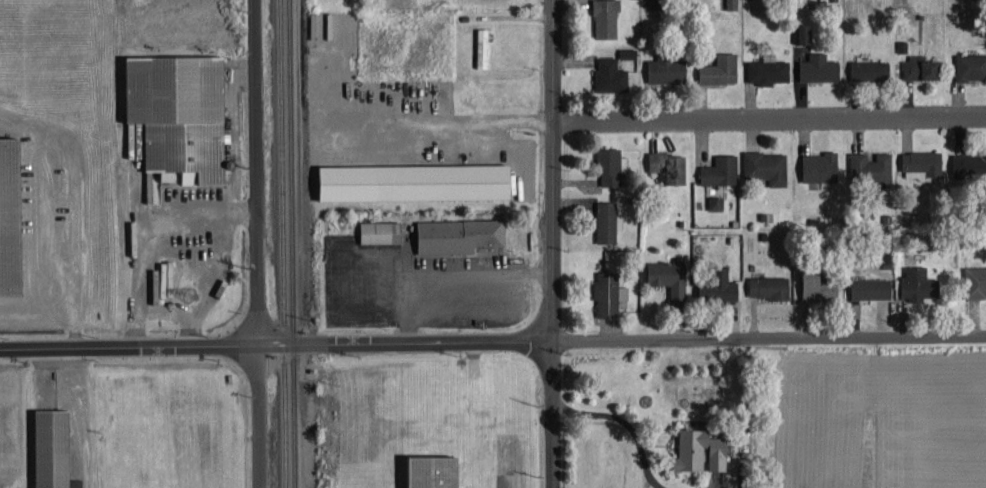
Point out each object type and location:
building: (601, 18)
building: (797, 32)
building: (478, 46)
building: (624, 51)
building: (968, 65)
building: (813, 66)
building: (914, 66)
building: (714, 68)
building: (864, 68)
building: (660, 69)
building: (764, 70)
building: (605, 74)
building: (172, 112)
road: (768, 114)
building: (919, 160)
building: (967, 163)
building: (604, 165)
building: (663, 165)
building: (762, 165)
building: (816, 165)
building: (866, 165)
building: (716, 169)
road: (255, 171)
building: (401, 180)
road: (550, 193)
building: (12, 216)
building: (374, 230)
building: (450, 233)
railway: (283, 244)
railway: (294, 244)
building: (662, 276)
building: (972, 280)
building: (911, 282)
building: (713, 284)
building: (813, 284)
building: (764, 285)
building: (865, 287)
building: (602, 294)
building: (850, 308)
road: (493, 341)
road: (258, 415)
road: (552, 437)
building: (46, 448)
building: (695, 450)
building: (424, 471)

